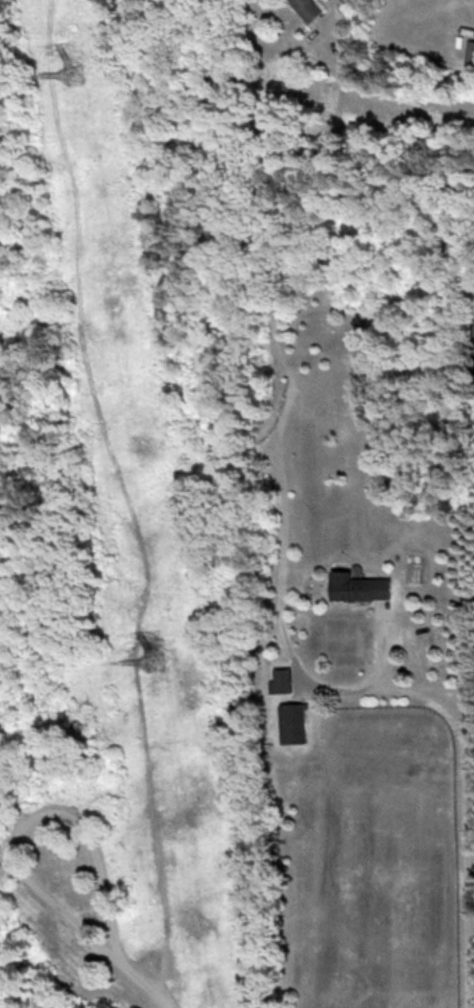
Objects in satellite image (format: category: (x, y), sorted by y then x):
building: (308, 8)
road: (326, 12)
building: (468, 51)
power tower: (75, 73)
park: (133, 516)
building: (358, 587)
power tower: (156, 660)
building: (292, 723)
road: (464, 796)
road: (32, 818)
road: (147, 986)

